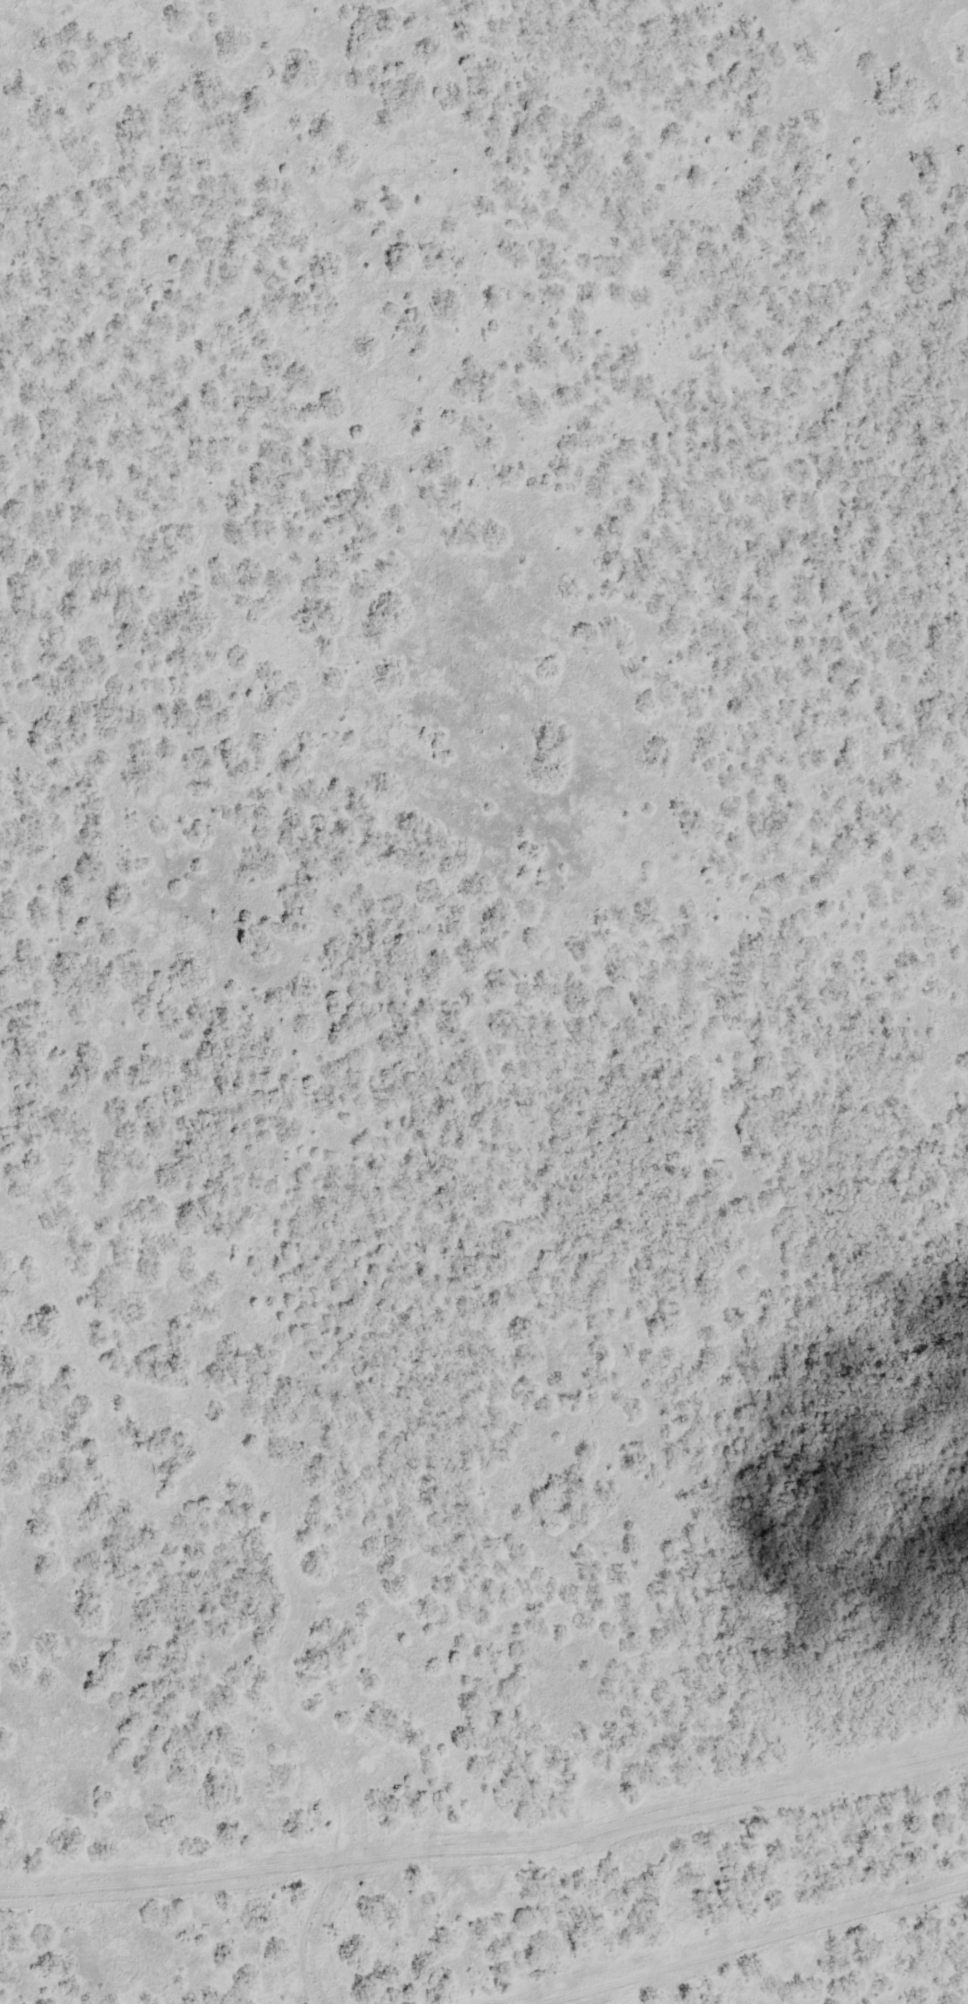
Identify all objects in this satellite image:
road: (483, 1853)

